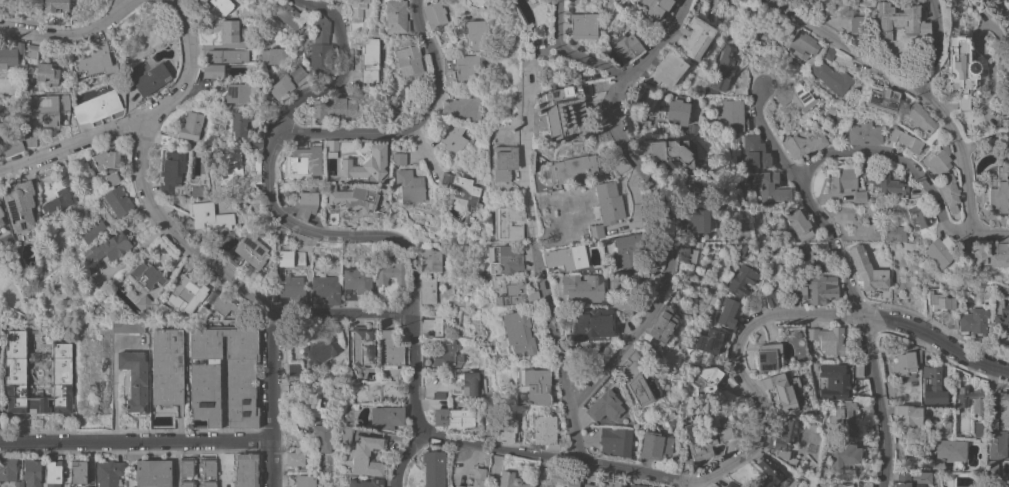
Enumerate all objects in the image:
building: (708, 0)
building: (722, 0)
building: (920, 0)
building: (1007, 0)
building: (189, 1)
building: (222, 5)
building: (976, 5)
road: (119, 6)
building: (655, 7)
building: (55, 10)
road: (1001, 10)
building: (435, 13)
building: (357, 14)
building: (291, 15)
building: (396, 16)
building: (899, 20)
building: (582, 25)
building: (855, 25)
building: (223, 29)
building: (457, 30)
building: (249, 32)
building: (477, 34)
road: (72, 35)
building: (695, 38)
building: (801, 44)
road: (935, 45)
building: (318, 46)
building: (626, 47)
building: (31, 51)
road: (571, 52)
building: (828, 53)
building: (228, 55)
building: (12, 56)
building: (95, 60)
building: (409, 63)
building: (464, 67)
building: (724, 68)
building: (213, 70)
building: (667, 70)
building: (961, 70)
building: (282, 71)
building: (44, 73)
building: (831, 77)
building: (783, 78)
building: (151, 79)
road: (915, 87)
building: (240, 92)
building: (796, 96)
building: (882, 97)
building: (462, 106)
building: (97, 107)
building: (45, 108)
building: (338, 108)
building: (677, 108)
building: (553, 115)
building: (732, 115)
building: (919, 118)
building: (1005, 123)
road: (413, 124)
building: (191, 125)
building: (244, 129)
building: (693, 129)
road: (766, 133)
building: (864, 133)
building: (1005, 136)
building: (453, 137)
building: (30, 140)
building: (164, 140)
building: (906, 140)
road: (74, 142)
building: (804, 144)
building: (11, 146)
building: (332, 146)
building: (674, 152)
building: (753, 153)
road: (899, 157)
building: (399, 158)
building: (306, 159)
building: (105, 160)
building: (504, 162)
building: (367, 163)
road: (523, 164)
building: (619, 164)
building: (71, 165)
building: (173, 168)
building: (229, 169)
building: (256, 170)
building: (570, 170)
building: (843, 177)
building: (944, 177)
building: (112, 178)
building: (882, 181)
building: (410, 185)
building: (769, 186)
building: (689, 188)
building: (998, 190)
building: (287, 191)
building: (462, 191)
building: (61, 196)
building: (860, 196)
building: (352, 198)
road: (662, 199)
building: (115, 202)
building: (305, 204)
building: (19, 205)
building: (605, 207)
building: (918, 213)
building: (1, 215)
building: (871, 216)
building: (205, 217)
building: (39, 218)
building: (331, 218)
building: (694, 222)
building: (508, 223)
building: (799, 225)
building: (474, 226)
road: (299, 227)
building: (93, 230)
road: (174, 233)
building: (895, 233)
road: (990, 233)
building: (874, 236)
building: (109, 248)
building: (628, 251)
building: (940, 251)
building: (248, 253)
building: (686, 254)
building: (997, 255)
building: (566, 257)
building: (973, 257)
building: (802, 258)
building: (431, 259)
building: (504, 259)
building: (867, 269)
building: (146, 275)
building: (389, 276)
building: (741, 280)
building: (357, 284)
building: (326, 288)
building: (583, 288)
building: (822, 288)
building: (293, 289)
building: (428, 290)
building: (802, 292)
building: (518, 293)
building: (188, 294)
building: (772, 297)
building: (939, 301)
building: (142, 303)
building: (223, 305)
building: (161, 310)
building: (146, 311)
building: (1000, 312)
building: (200, 313)
building: (728, 313)
building: (474, 314)
building: (954, 321)
building: (974, 321)
building: (591, 323)
road: (862, 324)
building: (434, 326)
building: (660, 326)
building: (0, 327)
building: (128, 327)
building: (519, 333)
road: (936, 338)
building: (703, 339)
building: (828, 339)
building: (95, 345)
building: (361, 347)
building: (321, 348)
building: (390, 350)
road: (562, 355)
building: (445, 356)
building: (769, 357)
building: (905, 363)
building: (167, 366)
building: (294, 369)
road: (741, 369)
building: (858, 370)
building: (18, 373)
road: (115, 377)
building: (135, 379)
building: (204, 379)
building: (58, 380)
building: (639, 380)
building: (835, 380)
building: (709, 382)
building: (469, 383)
building: (532, 386)
building: (932, 386)
building: (786, 392)
building: (439, 394)
road: (270, 400)
building: (315, 401)
building: (963, 401)
building: (353, 406)
building: (604, 406)
building: (1003, 407)
building: (908, 414)
building: (386, 417)
building: (454, 417)
building: (103, 419)
building: (842, 421)
building: (992, 423)
building: (978, 427)
building: (942, 428)
building: (506, 429)
building: (545, 431)
building: (345, 434)
building: (321, 436)
building: (784, 438)
building: (705, 440)
road: (134, 441)
building: (615, 441)
building: (871, 444)
building: (654, 445)
building: (996, 445)
building: (948, 449)
building: (844, 454)
building: (365, 456)
road: (559, 456)
building: (295, 457)
road: (402, 457)
building: (228, 458)
road: (171, 464)
building: (685, 466)
building: (186, 467)
building: (208, 467)
building: (1008, 467)
building: (8, 468)
building: (433, 468)
building: (245, 470)
building: (78, 472)
building: (32, 473)
building: (52, 473)
building: (108, 473)
building: (151, 473)
building: (770, 473)
building: (992, 473)
building: (476, 478)
building: (911, 479)
building: (510, 480)
building: (561, 480)
building: (300, 481)
building: (186, 483)
building: (208, 483)
building: (365, 483)
building: (18, 484)
building: (605, 484)
road: (693, 484)
building: (730, 484)
building: (851, 484)
building: (636, 485)
building: (345, 486)

